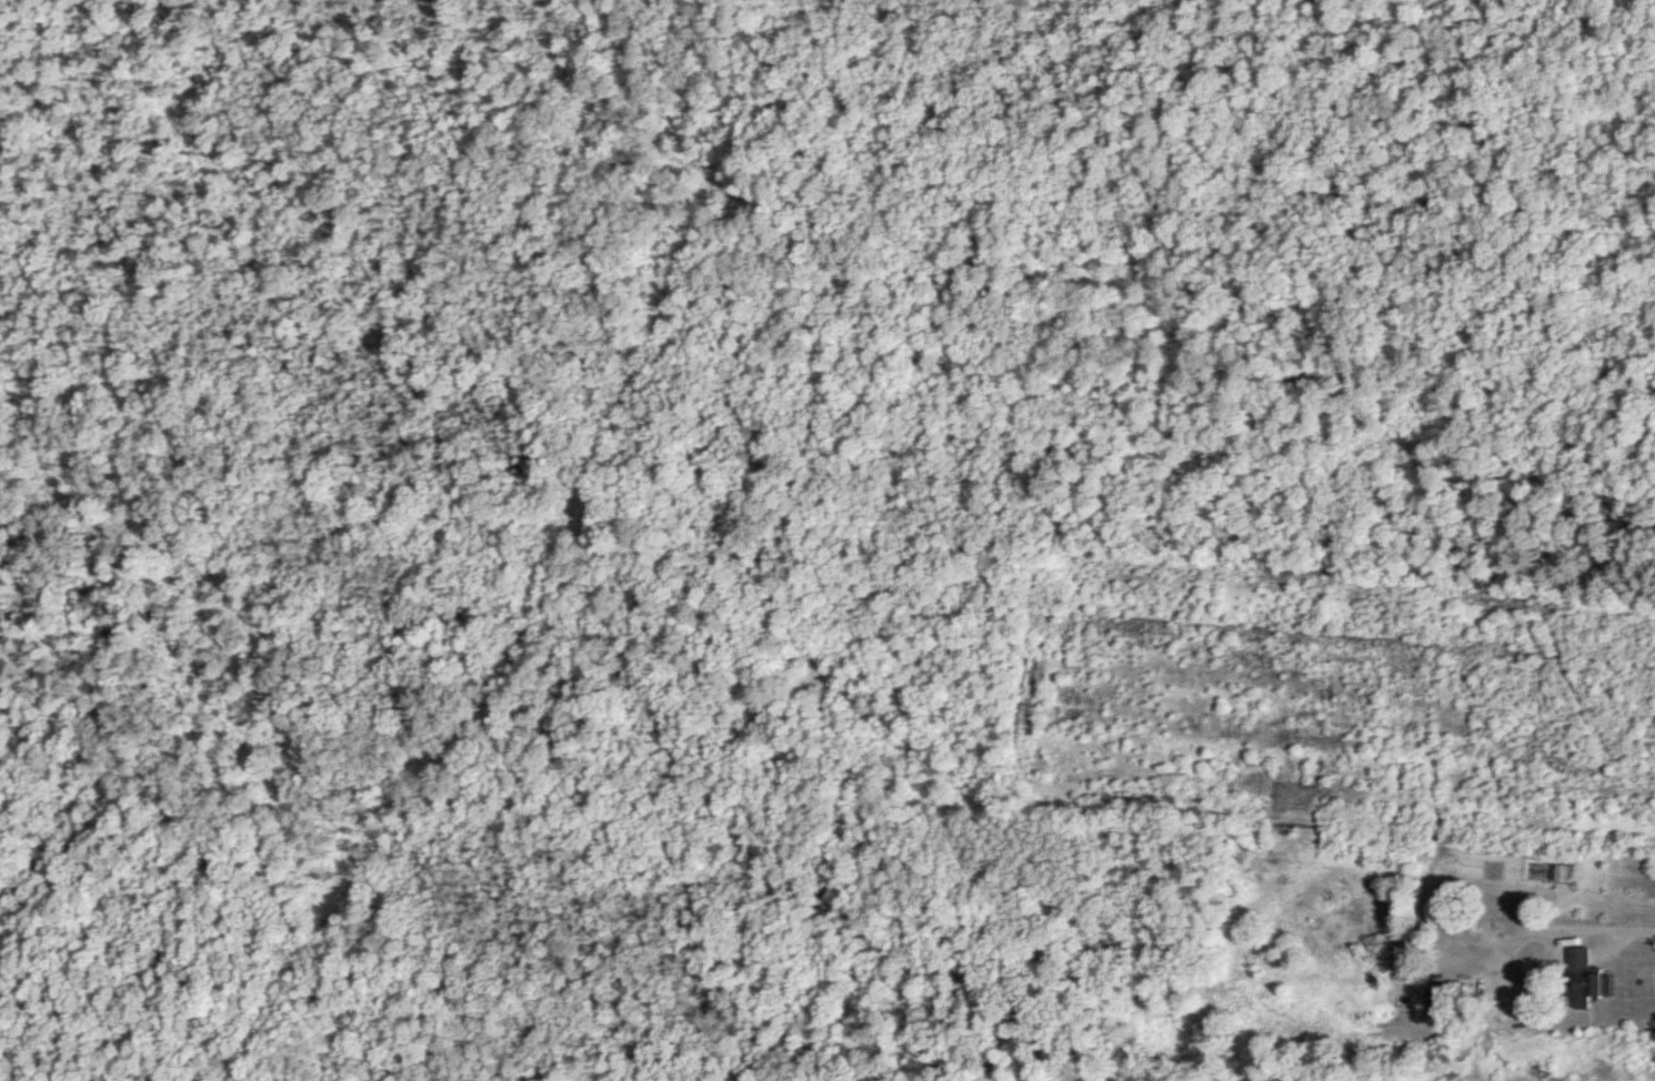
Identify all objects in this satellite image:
building: (1495, 926)
road: (1621, 931)
building: (1595, 979)
building: (1455, 983)

